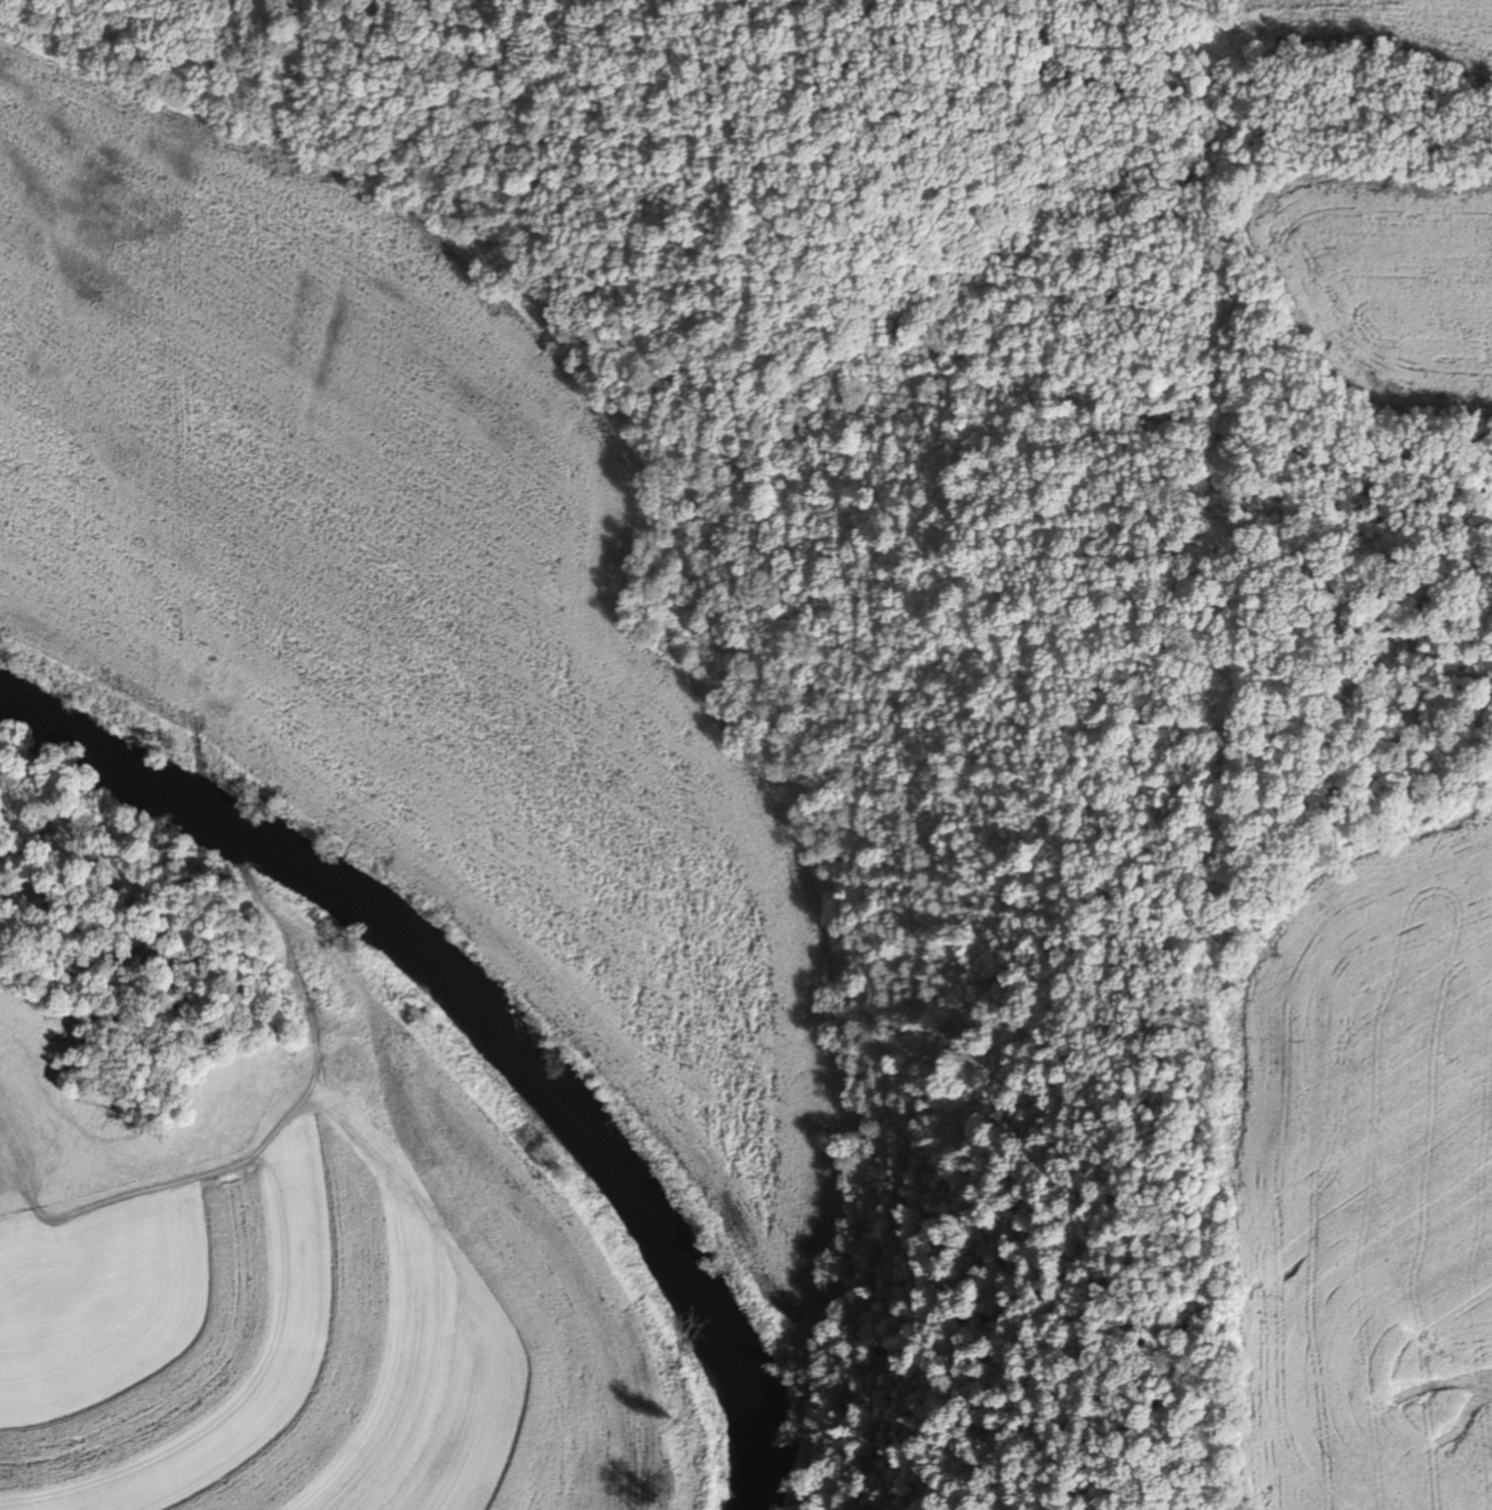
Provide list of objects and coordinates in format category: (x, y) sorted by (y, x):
river: (463, 1064)
road: (166, 1184)
building: (9, 1206)

